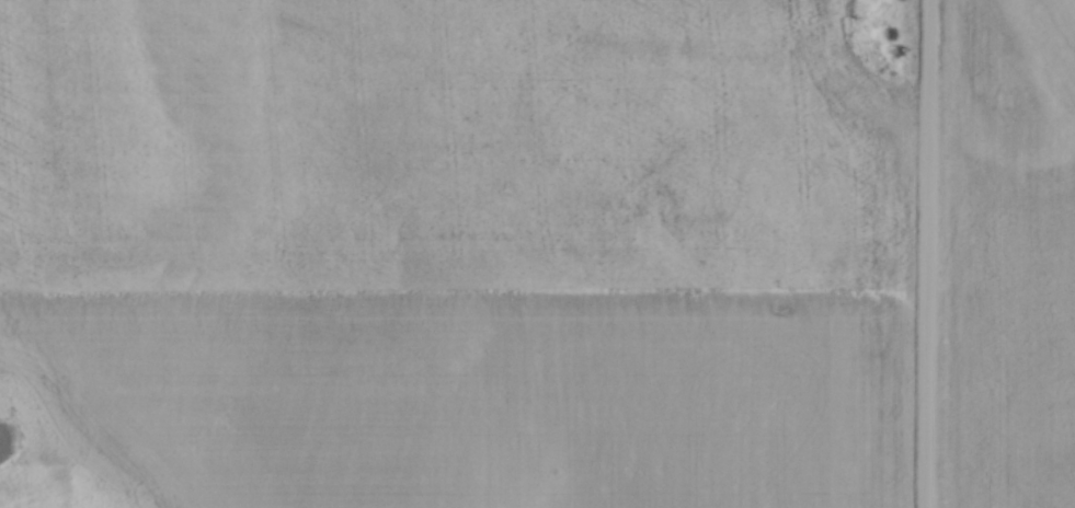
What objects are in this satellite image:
road: (926, 253)

